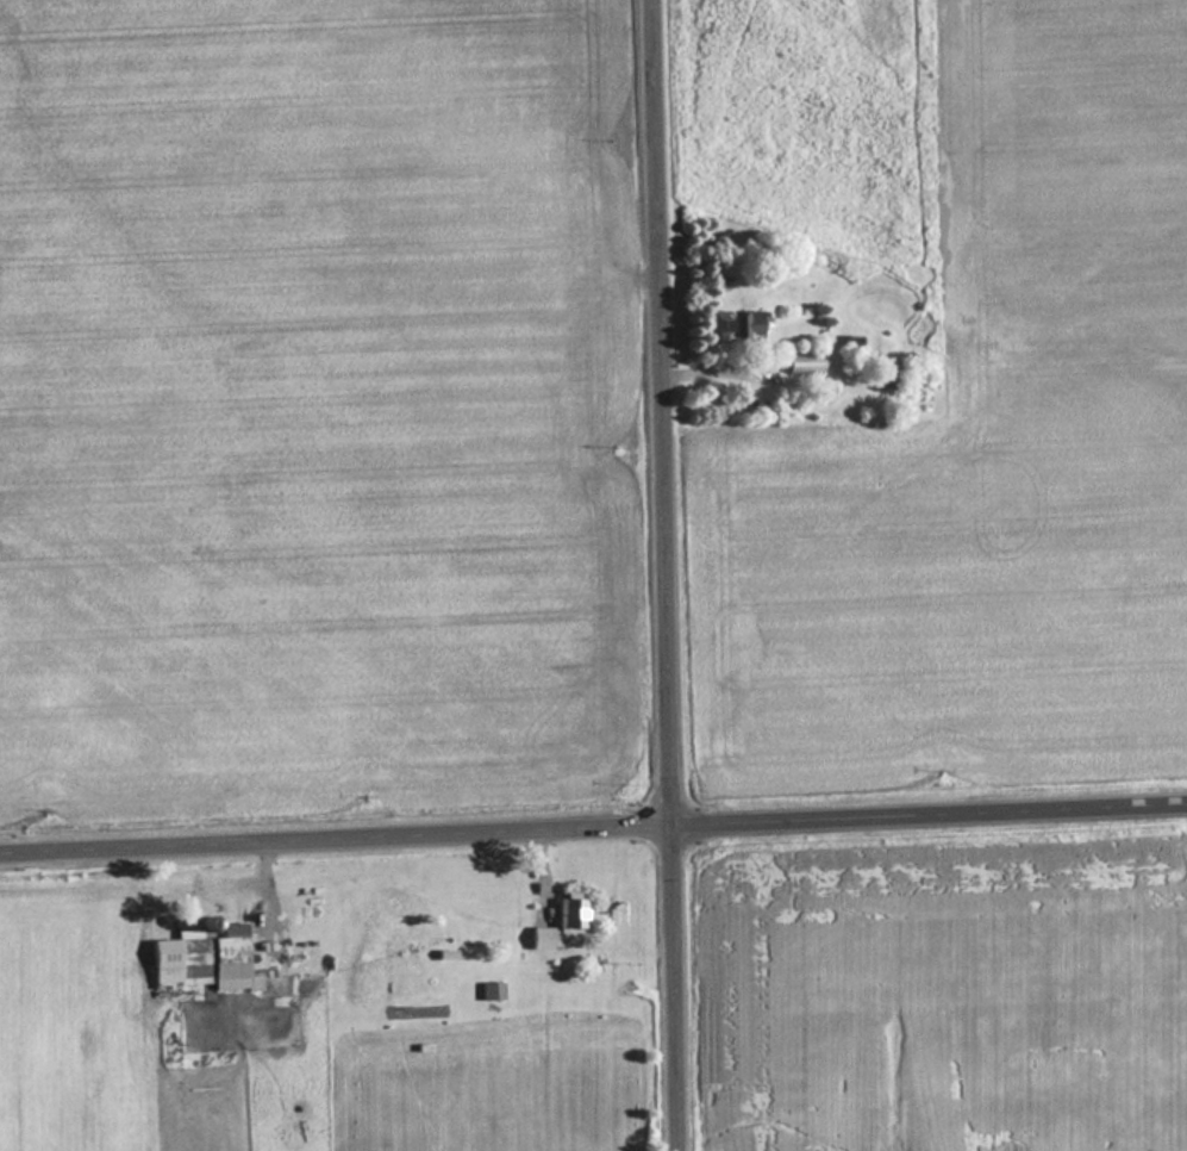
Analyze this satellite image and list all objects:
building: (739, 326)
building: (855, 346)
building: (801, 362)
building: (885, 380)
road: (667, 575)
road: (593, 835)
building: (560, 926)
building: (215, 956)
building: (491, 990)

